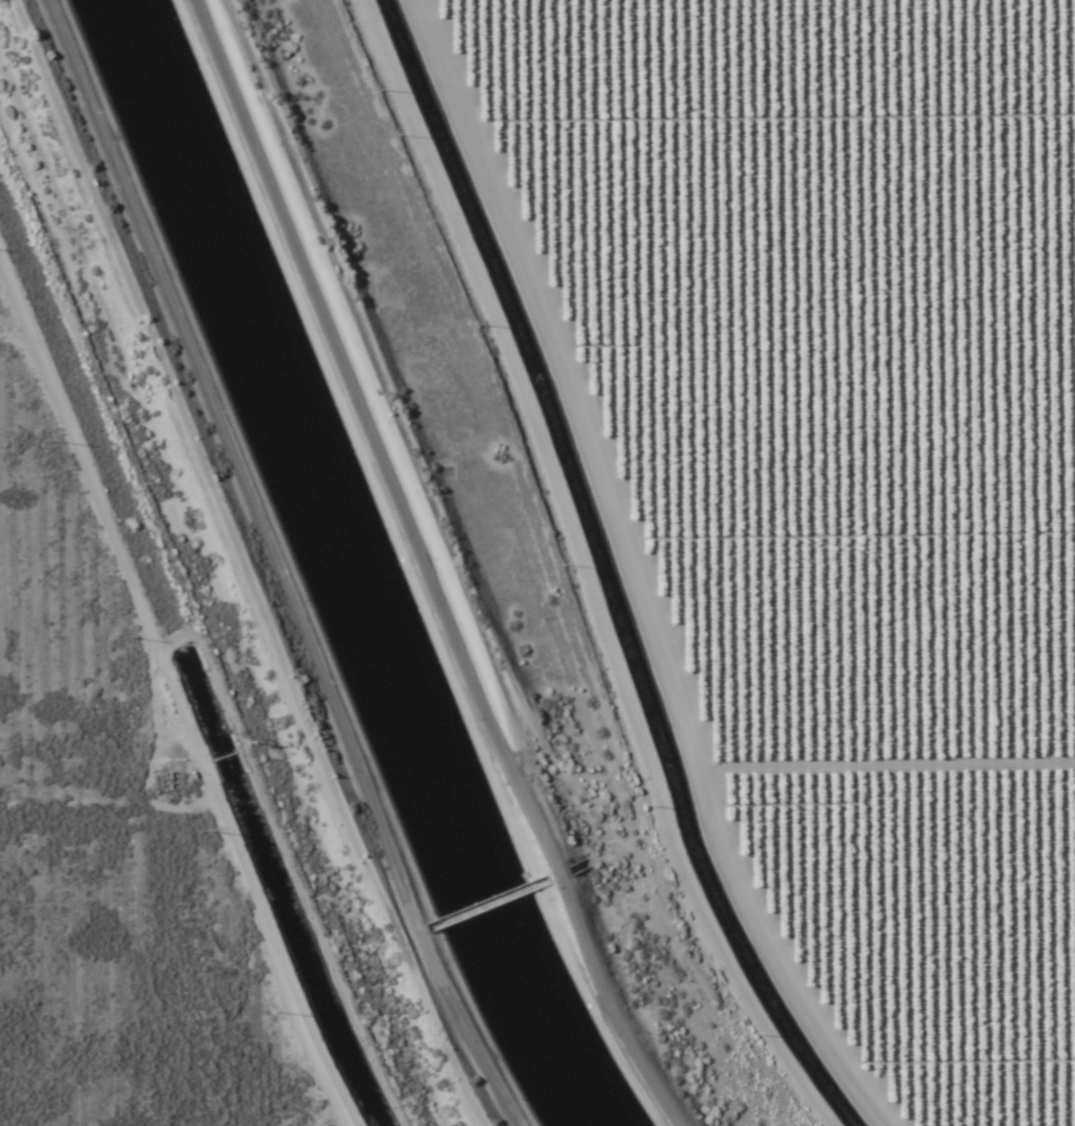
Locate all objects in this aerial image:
road: (272, 569)
road: (103, 684)

